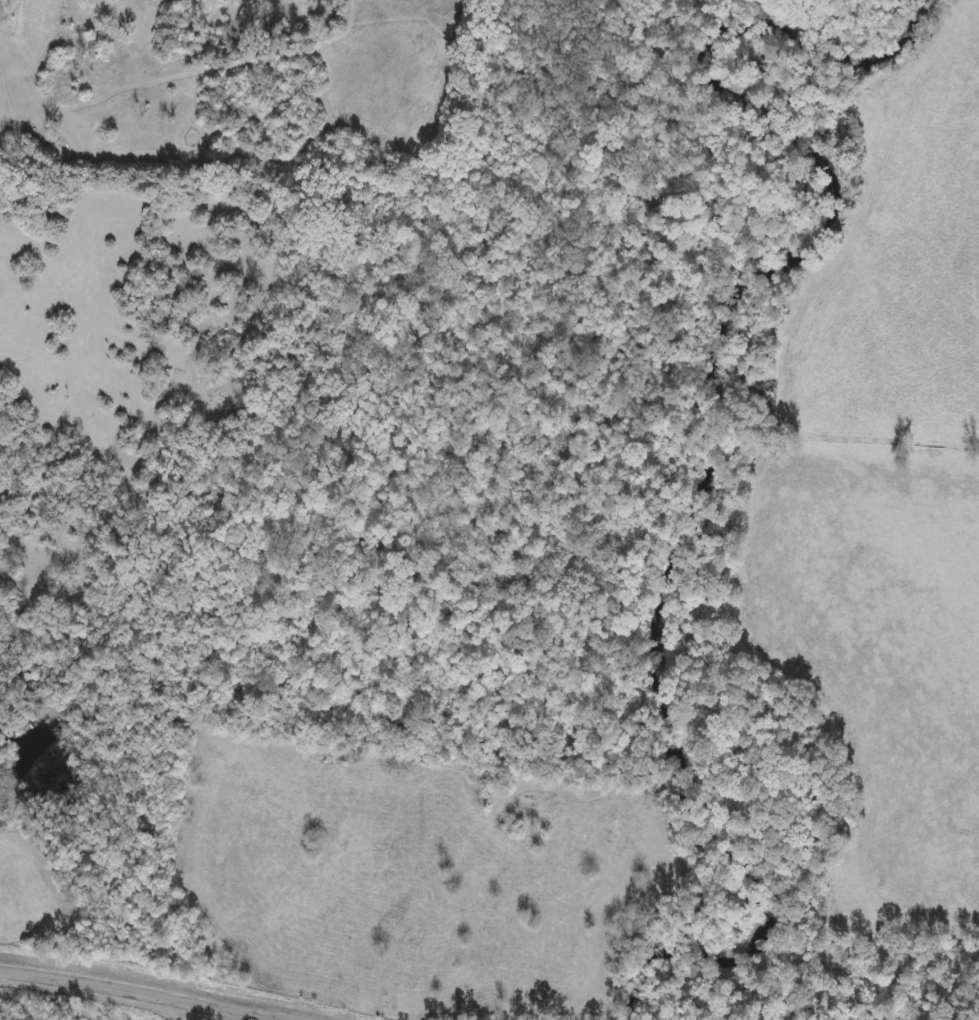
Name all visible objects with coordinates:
road: (130, 994)

